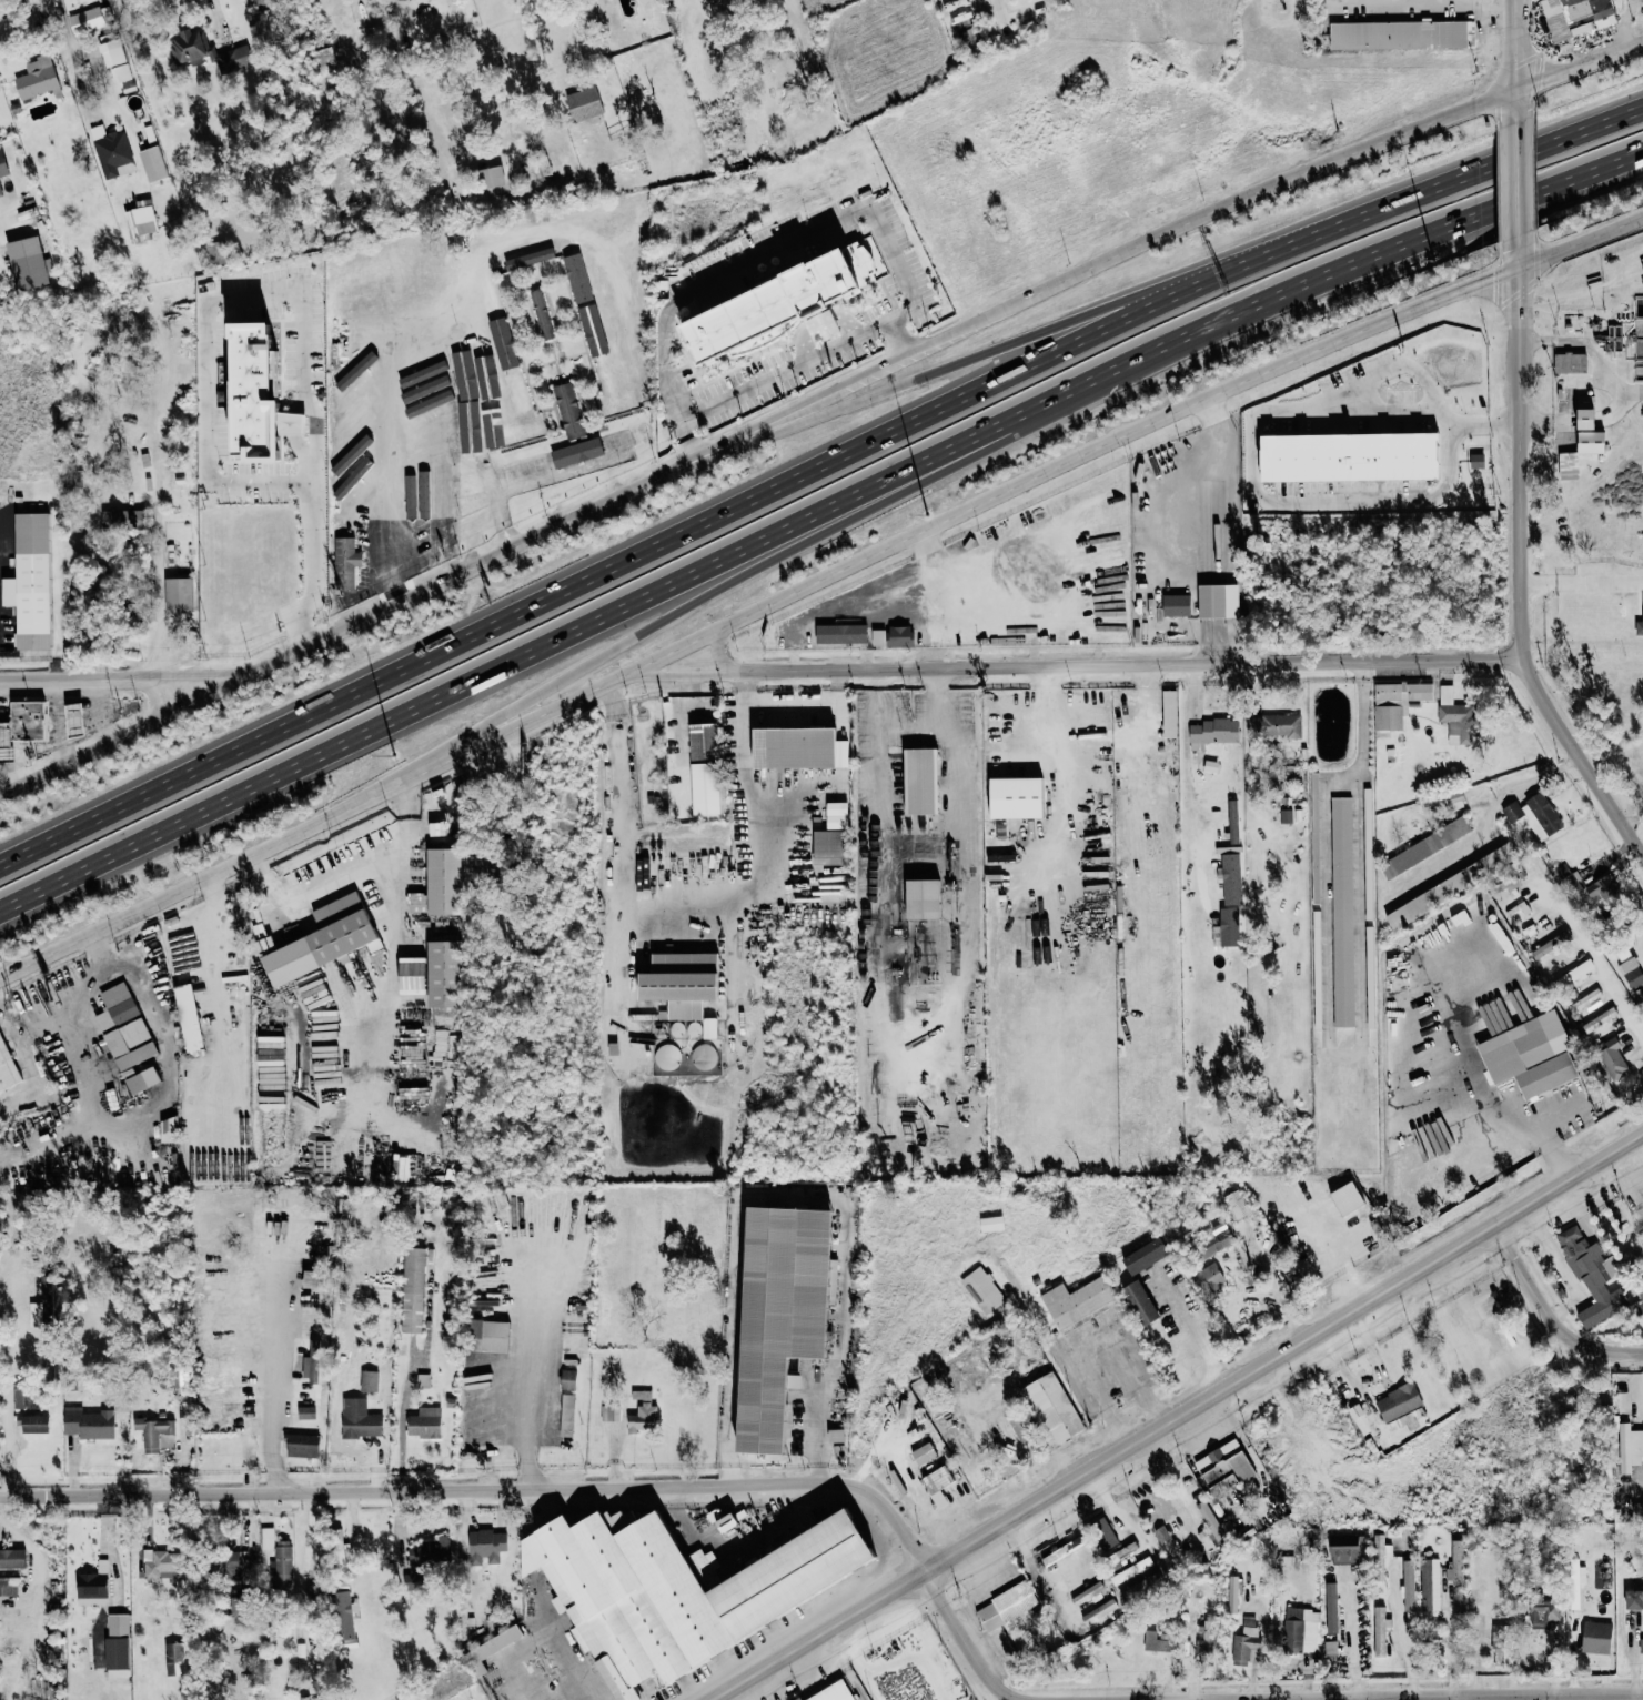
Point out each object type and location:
road: (1429, 1)
building: (254, 2)
building: (958, 3)
building: (1583, 13)
road: (218, 16)
building: (90, 19)
building: (1398, 33)
building: (969, 38)
building: (189, 46)
road: (74, 58)
building: (232, 58)
building: (114, 59)
road: (1515, 60)
building: (36, 77)
building: (584, 103)
building: (111, 151)
building: (152, 163)
road: (1335, 163)
building: (2, 164)
building: (538, 165)
building: (492, 175)
road: (1515, 179)
building: (0, 192)
road: (1438, 192)
building: (140, 220)
road: (566, 232)
road: (802, 241)
building: (213, 252)
building: (526, 255)
building: (28, 261)
building: (598, 273)
building: (577, 278)
building: (621, 283)
building: (492, 301)
road: (275, 303)
building: (782, 306)
building: (541, 313)
building: (377, 321)
road: (853, 326)
road: (825, 328)
building: (593, 331)
road: (806, 348)
building: (430, 354)
road: (995, 355)
building: (462, 358)
road: (1398, 359)
building: (1570, 362)
road: (896, 368)
road: (785, 369)
building: (626, 382)
building: (609, 388)
building: (517, 392)
building: (351, 393)
building: (256, 394)
building: (426, 401)
building: (487, 405)
building: (568, 410)
road: (1211, 412)
building: (430, 418)
building: (1591, 423)
building: (352, 425)
building: (467, 427)
road: (1211, 430)
building: (520, 432)
building: (431, 435)
building: (626, 436)
road: (691, 441)
road: (389, 442)
building: (1353, 450)
building: (431, 451)
building: (578, 453)
building: (352, 454)
building: (1481, 459)
building: (1572, 462)
building: (364, 463)
building: (524, 466)
building: (472, 482)
building: (344, 485)
road: (1026, 485)
building: (424, 490)
building: (439, 490)
building: (409, 494)
road: (1294, 502)
road: (1212, 510)
building: (361, 513)
building: (122, 519)
road: (816, 519)
building: (345, 561)
road: (158, 565)
road: (1519, 565)
road: (615, 566)
building: (30, 581)
road: (1580, 582)
building: (178, 594)
road: (1213, 600)
building: (1219, 600)
road: (715, 601)
building: (1176, 604)
road: (377, 615)
building: (1639, 627)
building: (840, 633)
building: (893, 636)
road: (1214, 640)
road: (1581, 651)
road: (1367, 661)
road: (809, 665)
road: (1078, 666)
road: (129, 674)
road: (692, 690)
building: (1397, 702)
road: (768, 706)
road: (99, 711)
building: (1169, 713)
building: (1456, 716)
building: (27, 720)
building: (74, 720)
road: (62, 721)
road: (1363, 722)
road: (681, 723)
building: (1273, 725)
road: (878, 727)
building: (1213, 732)
road: (747, 742)
road: (1037, 743)
road: (1138, 743)
road: (1187, 746)
building: (794, 747)
building: (705, 768)
road: (1544, 774)
building: (920, 781)
building: (1017, 797)
building: (1451, 801)
building: (1534, 813)
road: (335, 818)
road: (1632, 819)
building: (1233, 821)
building: (829, 847)
building: (1425, 847)
road: (959, 859)
building: (487, 866)
road: (349, 873)
road: (1077, 876)
building: (1231, 877)
building: (444, 881)
building: (1601, 888)
building: (923, 898)
building: (1342, 912)
road: (639, 919)
road: (124, 922)
building: (1536, 923)
building: (324, 940)
building: (1551, 944)
road: (1594, 958)
building: (1631, 970)
building: (444, 974)
building: (1573, 975)
building: (682, 982)
building: (1585, 1000)
building: (188, 1017)
building: (1600, 1019)
building: (123, 1029)
building: (666, 1056)
building: (704, 1056)
building: (1531, 1056)
building: (1612, 1057)
building: (7, 1067)
building: (142, 1079)
road: (1522, 1092)
road: (122, 1126)
building: (169, 1129)
building: (401, 1168)
building: (1237, 1205)
building: (991, 1224)
building: (1214, 1241)
building: (1587, 1253)
building: (1145, 1256)
building: (834, 1275)
building: (1209, 1279)
building: (1641, 1287)
building: (412, 1289)
building: (982, 1289)
building: (46, 1290)
building: (1077, 1300)
building: (1140, 1302)
building: (1603, 1308)
building: (1641, 1308)
road: (1552, 1311)
building: (782, 1316)
road: (1193, 1325)
road: (1040, 1327)
building: (488, 1336)
road: (1087, 1341)
road: (814, 1345)
road: (279, 1360)
road: (531, 1364)
building: (310, 1369)
building: (568, 1379)
building: (369, 1381)
building: (641, 1395)
building: (18, 1399)
building: (1398, 1401)
building: (1054, 1408)
building: (305, 1412)
building: (609, 1412)
building: (566, 1415)
building: (643, 1418)
road: (1180, 1418)
building: (360, 1419)
building: (32, 1424)
building: (88, 1424)
building: (424, 1424)
building: (1019, 1427)
building: (155, 1434)
building: (836, 1436)
building: (301, 1446)
building: (1630, 1448)
building: (1223, 1467)
building: (937, 1485)
road: (874, 1490)
road: (355, 1526)
building: (266, 1537)
road: (1068, 1543)
building: (485, 1546)
building: (1347, 1547)
building: (336, 1549)
building: (430, 1551)
building: (1456, 1555)
building: (1380, 1556)
building: (11, 1558)
building: (282, 1562)
building: (161, 1563)
building: (1142, 1565)
building: (225, 1566)
building: (1428, 1583)
building: (1409, 1585)
building: (8, 1586)
building: (92, 1586)
building: (677, 1587)
building: (1232, 1593)
building: (1634, 1598)
building: (1007, 1607)
building: (1544, 1610)
building: (342, 1615)
building: (1333, 1616)
road: (547, 1628)
building: (1380, 1629)
road: (1452, 1633)
building: (1300, 1634)
building: (1596, 1637)
building: (1206, 1638)
building: (1246, 1639)
building: (117, 1640)
building: (1156, 1640)
road: (1481, 1642)
building: (1641, 1643)
road: (1408, 1646)
building: (1502, 1646)
building: (491, 1647)
building: (1331, 1647)
building: (174, 1658)
building: (831, 1692)
building: (302, 1698)

